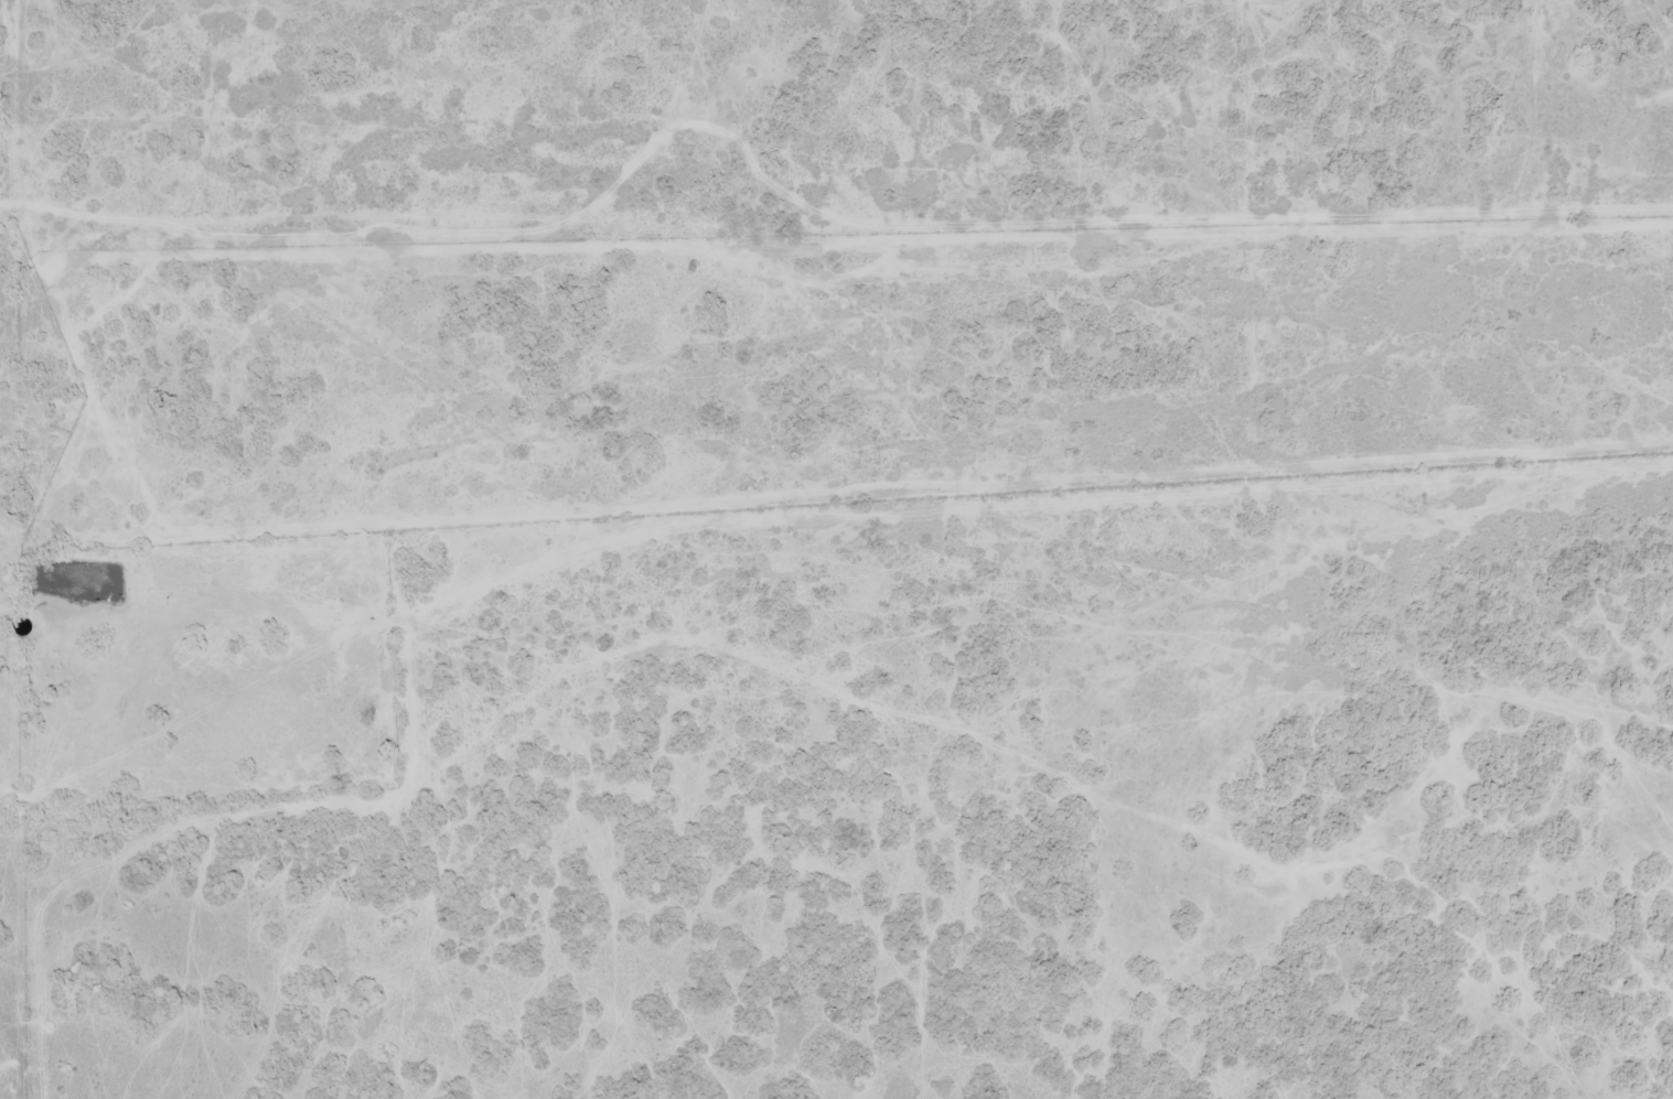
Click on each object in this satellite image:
road: (3, 10)

